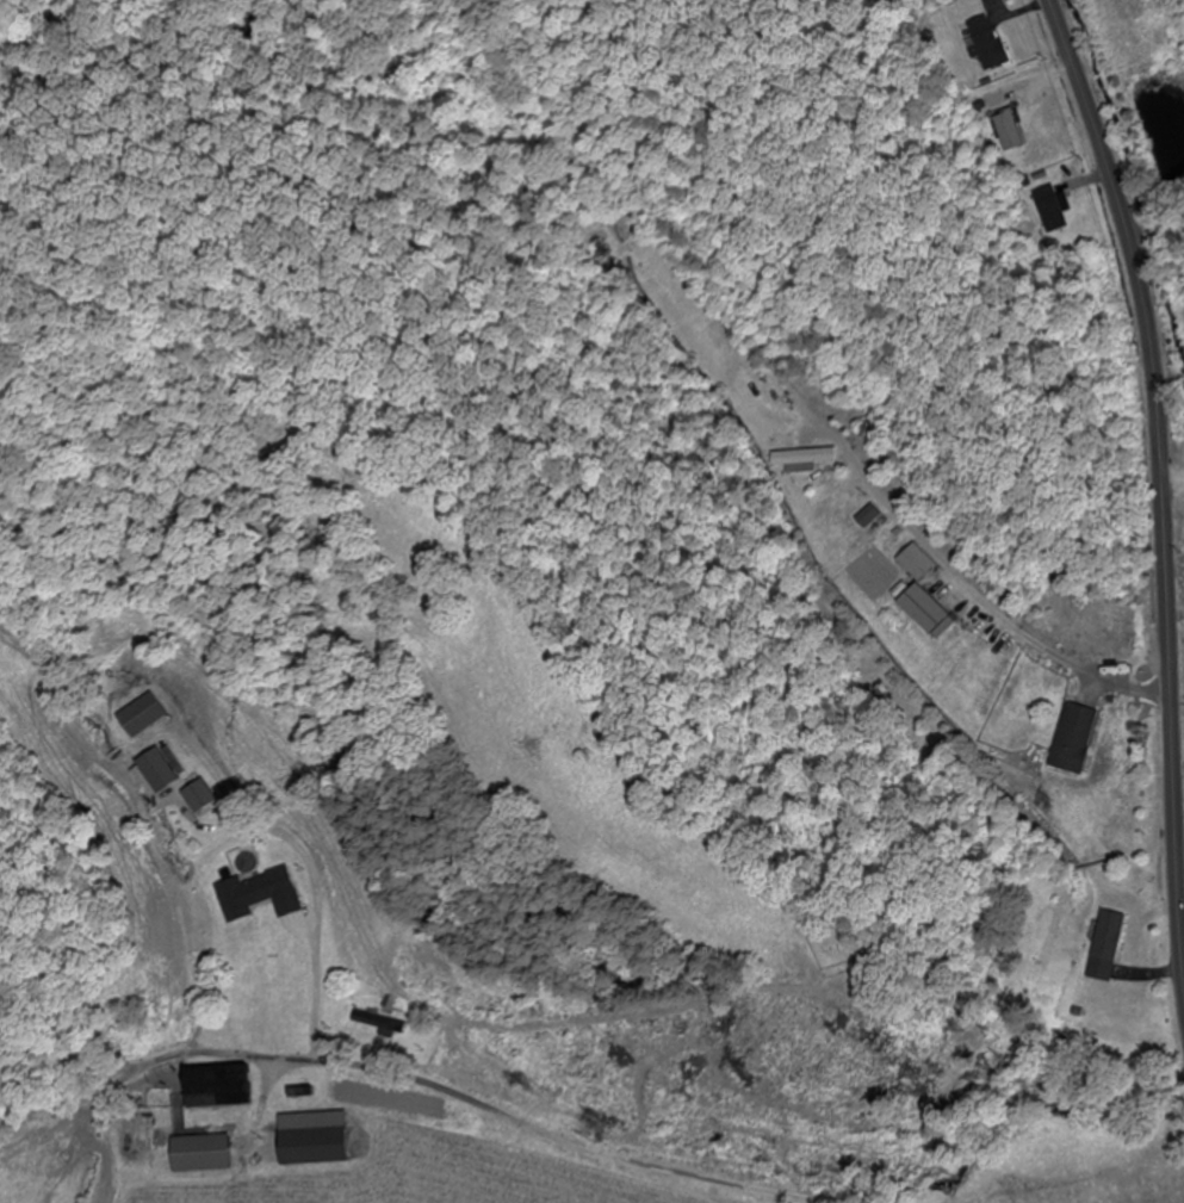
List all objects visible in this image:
building: (984, 45)
building: (1010, 131)
building: (807, 459)
road: (1157, 477)
building: (867, 519)
building: (915, 565)
building: (962, 615)
building: (141, 718)
building: (1074, 740)
building: (159, 770)
building: (199, 795)
building: (258, 897)
building: (1098, 986)
building: (378, 1024)
road: (415, 1084)
building: (235, 1091)
building: (314, 1147)
building: (202, 1154)

